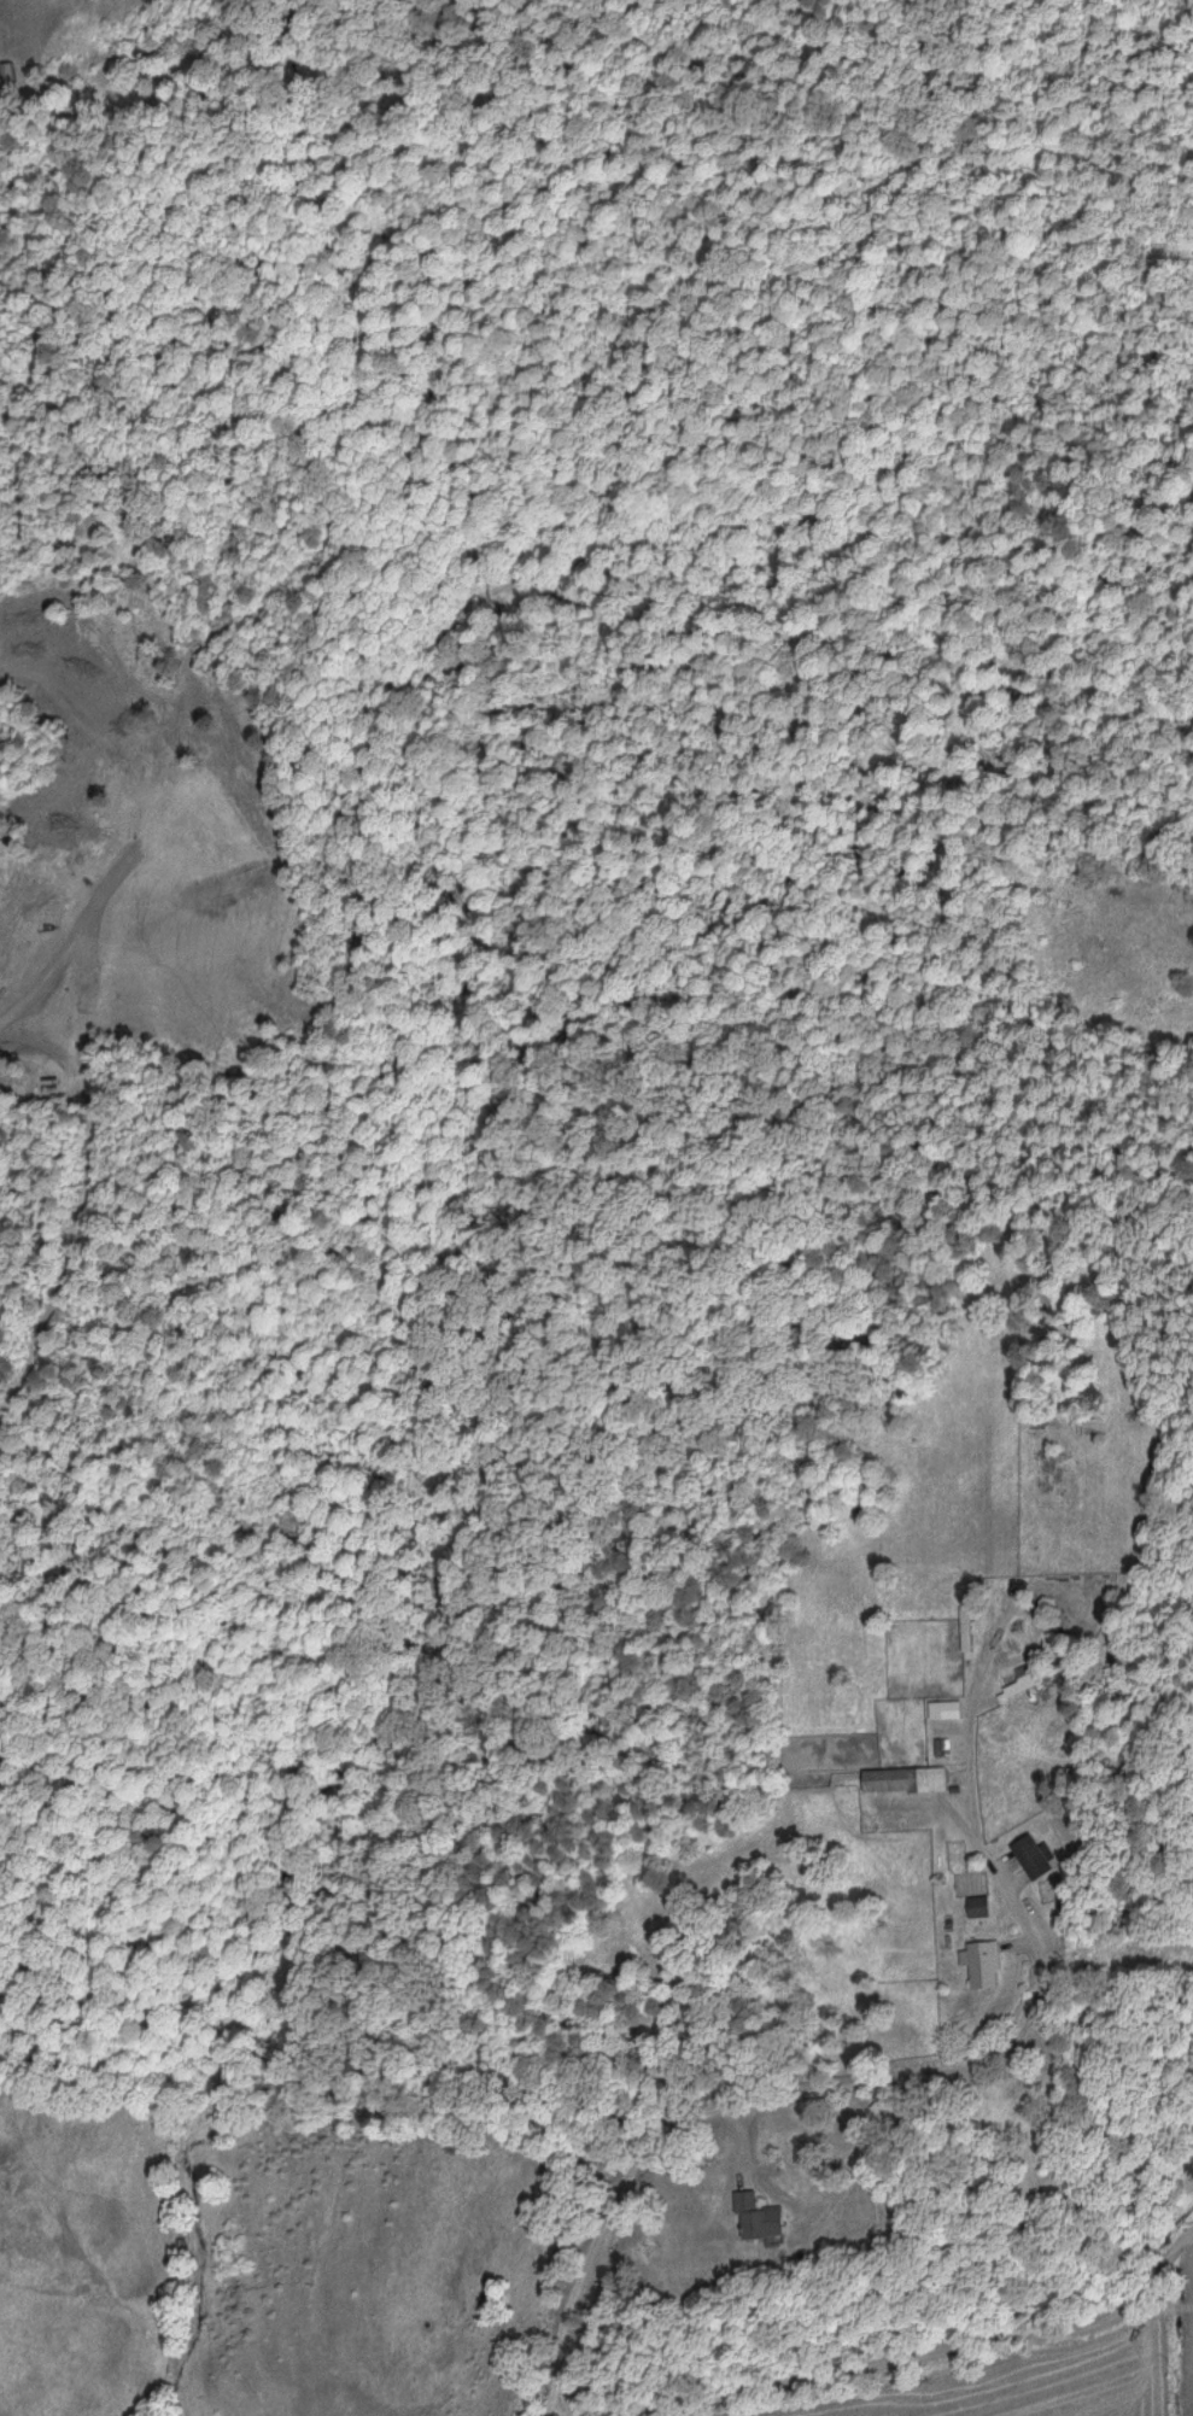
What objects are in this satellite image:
building: (963, 1627)
building: (1021, 1683)
building: (901, 1779)
building: (1030, 1854)
building: (976, 1905)
building: (979, 1961)
road: (931, 2076)
road: (900, 2351)

